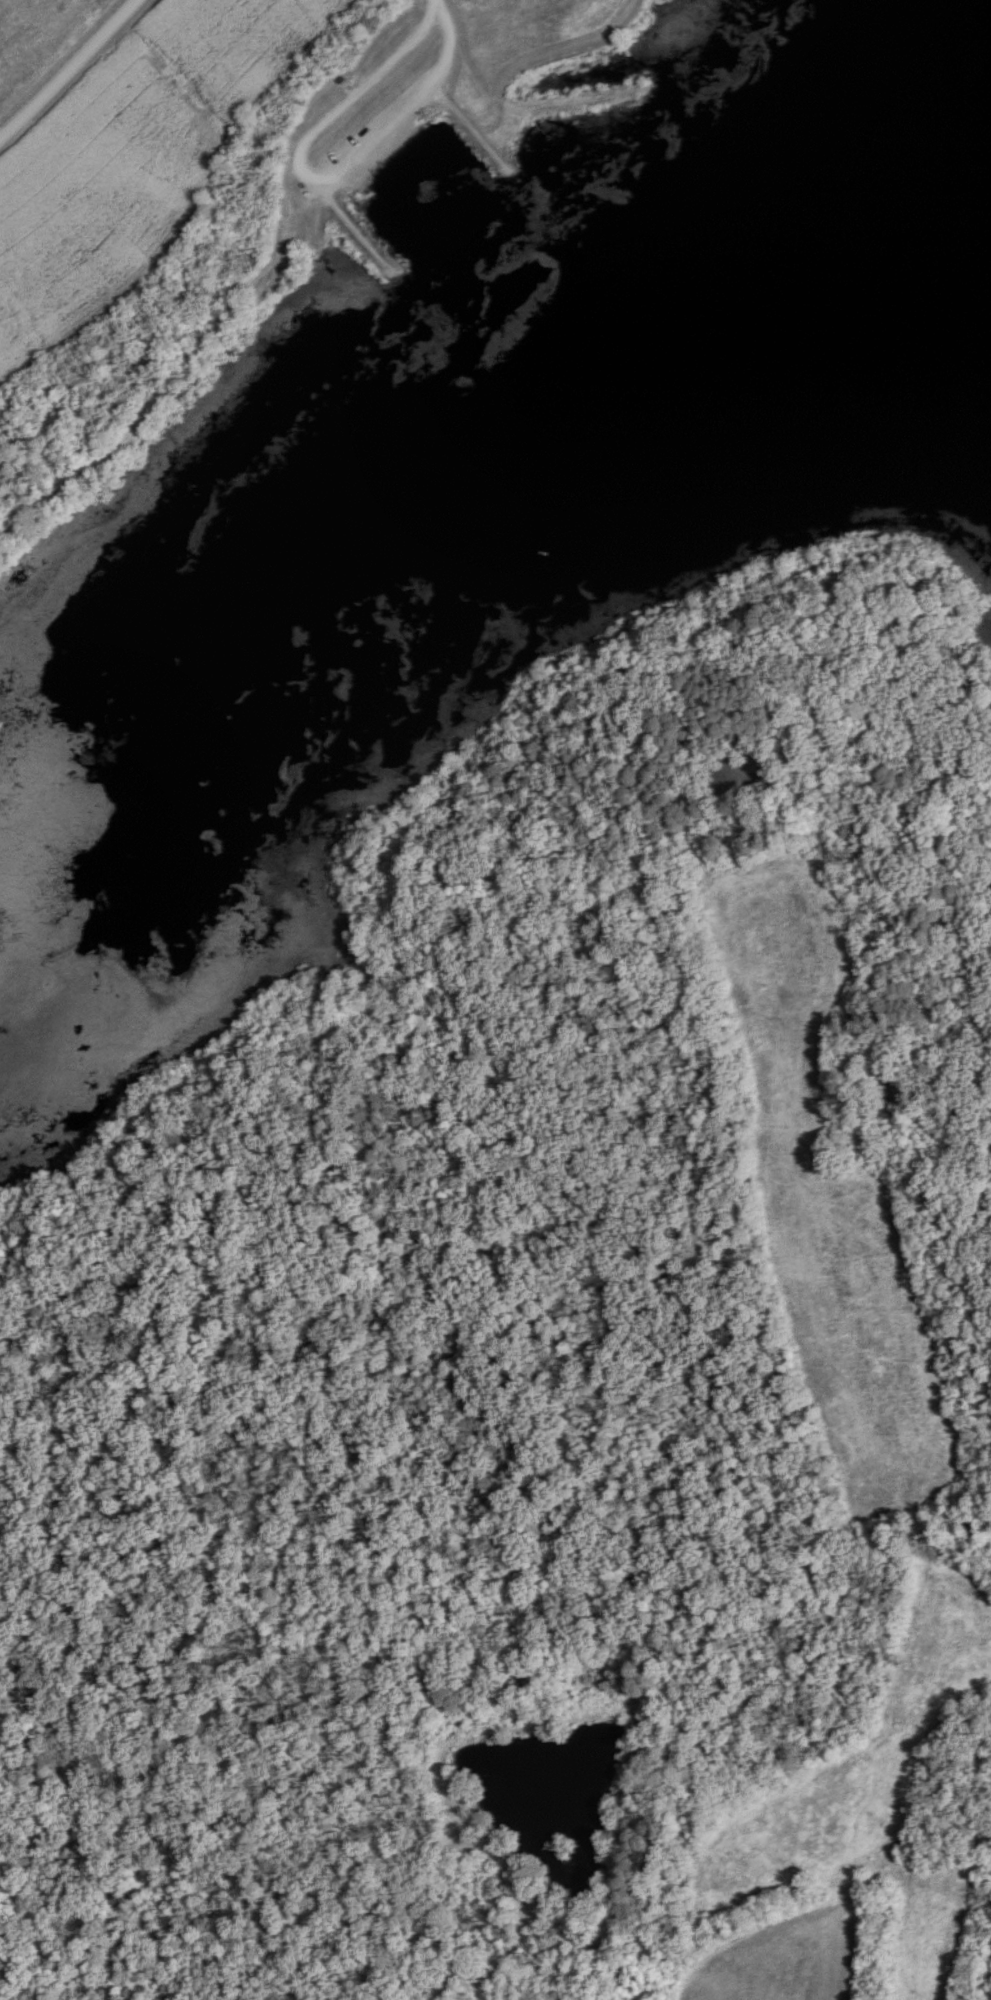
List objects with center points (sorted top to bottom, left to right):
road: (435, 7)
road: (64, 63)
road: (307, 178)

